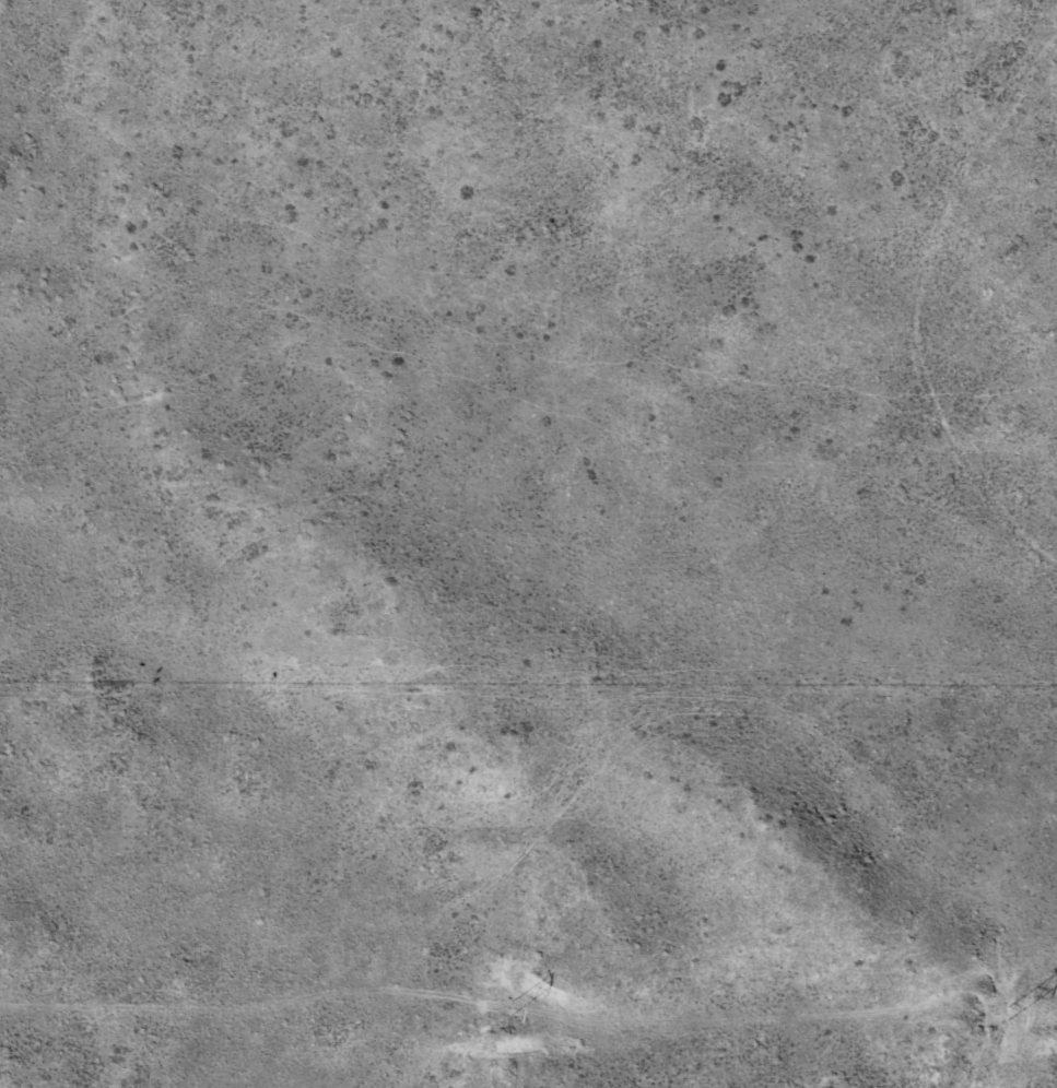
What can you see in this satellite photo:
power tower: (1022, 1013)
power tower: (512, 1014)

